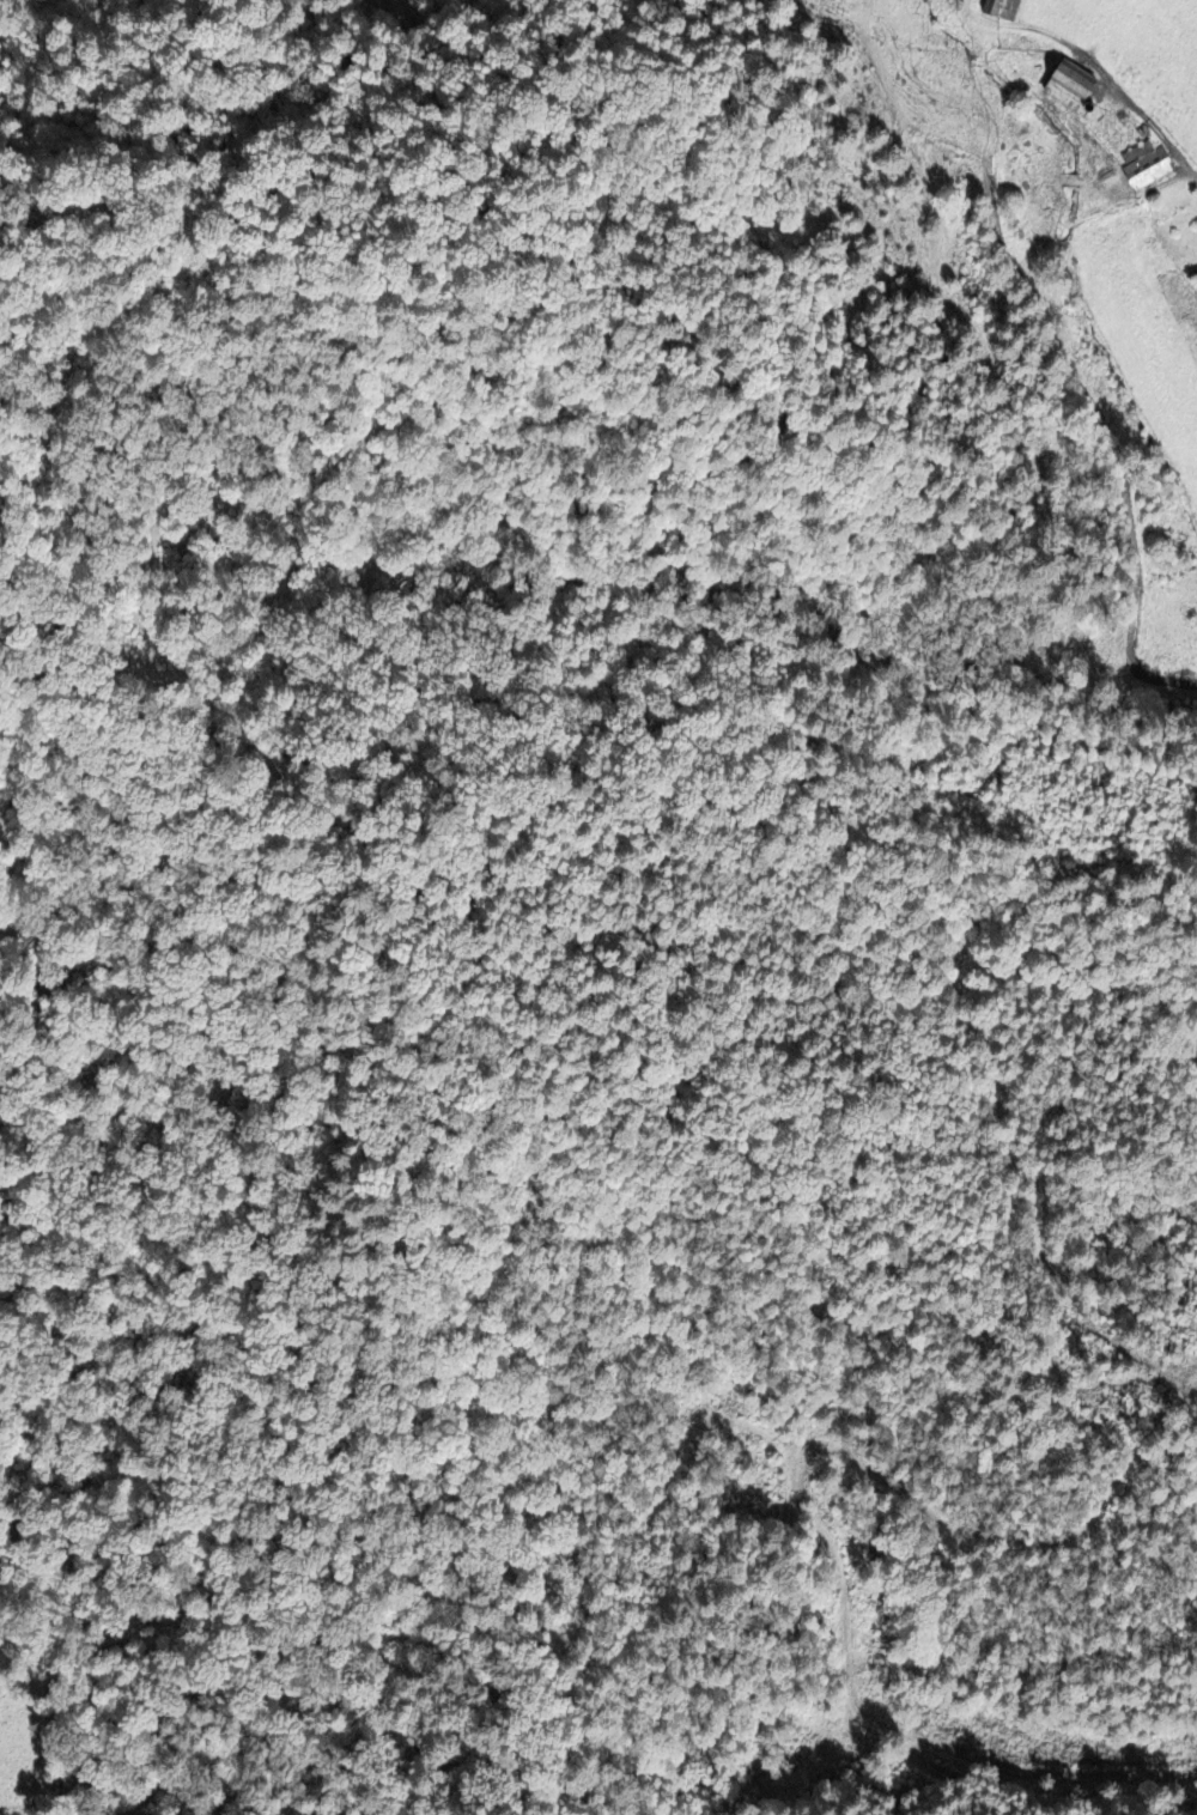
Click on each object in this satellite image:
building: (1001, 8)
building: (1065, 84)
road: (1117, 90)
building: (1147, 169)

